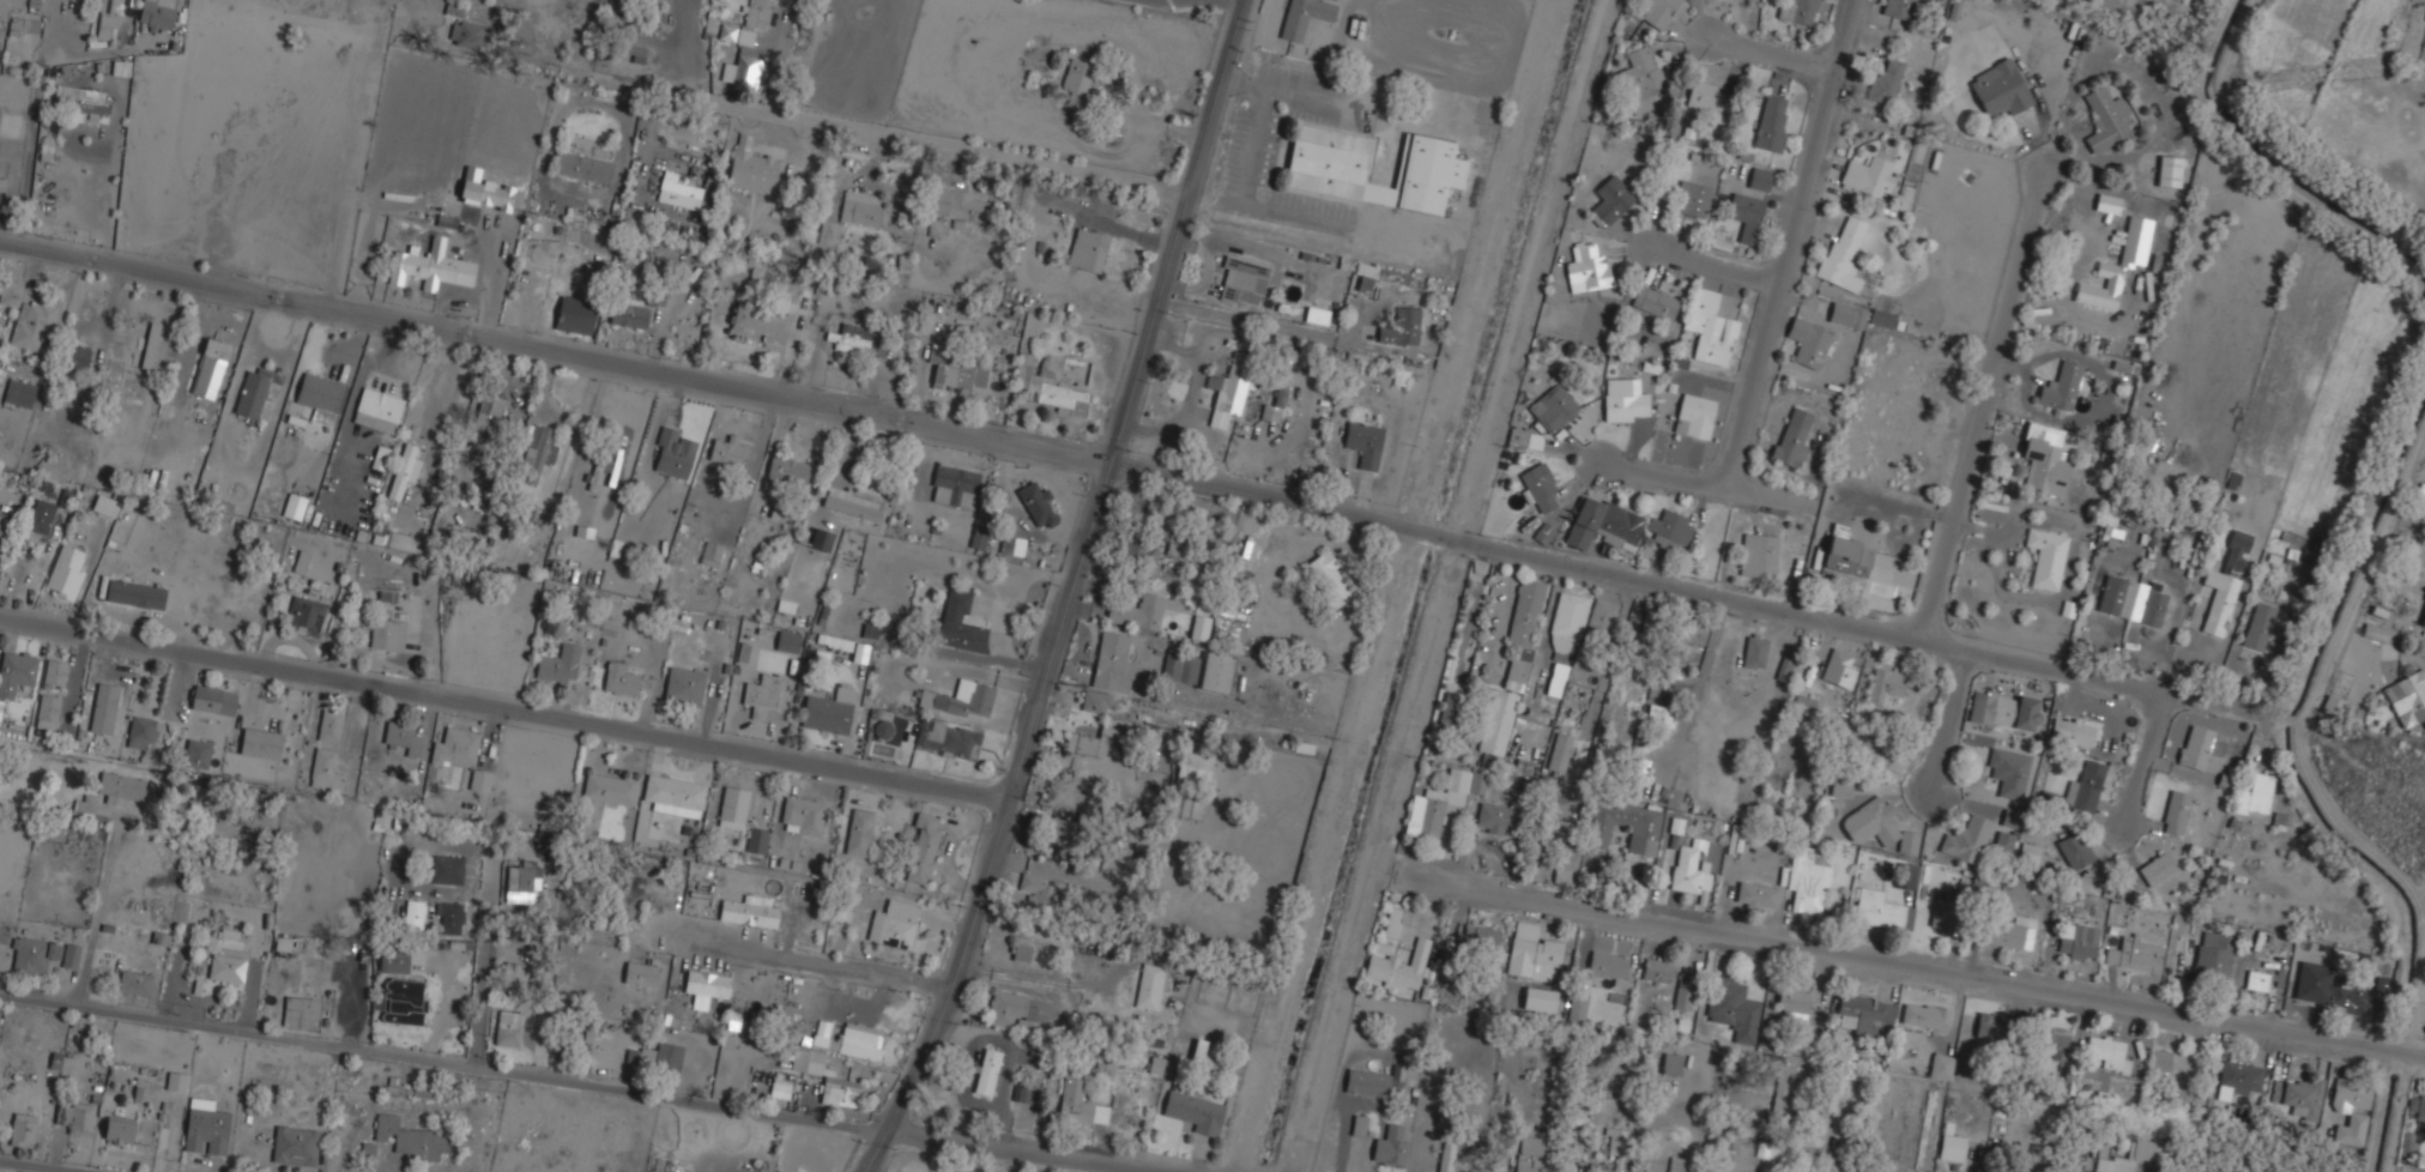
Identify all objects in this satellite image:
building: (454, 8)
building: (1658, 11)
building: (1797, 11)
building: (1898, 12)
building: (156, 13)
building: (755, 16)
building: (1304, 16)
building: (107, 18)
building: (16, 26)
building: (466, 32)
building: (744, 37)
road: (1777, 50)
building: (635, 53)
building: (746, 65)
building: (120, 67)
building: (1639, 77)
building: (1076, 79)
building: (1885, 80)
building: (1998, 86)
building: (1707, 97)
building: (78, 103)
road: (36, 107)
building: (2105, 117)
building: (1771, 121)
road: (883, 134)
building: (751, 165)
building: (582, 167)
building: (1325, 169)
building: (2169, 170)
building: (1867, 174)
building: (1759, 177)
building: (1, 180)
building: (682, 186)
building: (491, 194)
building: (1691, 197)
building: (1609, 199)
building: (957, 203)
building: (2107, 204)
building: (860, 207)
building: (1744, 213)
building: (828, 232)
road: (1794, 243)
building: (1087, 248)
building: (1842, 250)
road: (1718, 262)
building: (431, 265)
building: (1586, 267)
building: (1375, 274)
building: (1242, 279)
building: (2102, 285)
building: (1655, 301)
building: (628, 312)
building: (25, 313)
building: (574, 313)
building: (1316, 314)
building: (1846, 314)
building: (1881, 316)
building: (758, 322)
building: (1712, 324)
building: (1401, 325)
building: (857, 338)
building: (1807, 340)
building: (145, 342)
road: (555, 349)
building: (80, 356)
building: (210, 367)
building: (948, 368)
building: (1046, 382)
building: (2062, 385)
building: (1230, 386)
building: (256, 388)
building: (18, 391)
building: (320, 394)
building: (1623, 399)
building: (1275, 400)
building: (1553, 406)
building: (376, 409)
road: (1984, 409)
building: (488, 411)
building: (1693, 415)
building: (1792, 435)
building: (1524, 437)
building: (1362, 441)
building: (537, 449)
building: (672, 451)
building: (726, 451)
building: (2044, 457)
building: (403, 464)
building: (787, 465)
building: (597, 469)
road: (1709, 482)
building: (954, 484)
building: (1538, 484)
building: (852, 502)
building: (1036, 503)
building: (104, 505)
building: (515, 512)
building: (40, 515)
building: (1601, 521)
building: (0, 527)
building: (577, 528)
building: (1669, 530)
building: (1543, 532)
building: (2109, 536)
building: (821, 538)
building: (978, 538)
building: (1012, 545)
building: (1131, 549)
building: (1172, 549)
building: (2236, 549)
building: (1758, 552)
building: (1857, 556)
building: (2046, 556)
building: (301, 562)
building: (65, 572)
building: (1329, 580)
road: (1683, 590)
road: (1071, 591)
building: (134, 593)
building: (387, 594)
building: (2131, 598)
building: (2218, 599)
building: (785, 606)
building: (1139, 611)
building: (304, 614)
building: (2423, 616)
building: (961, 617)
building: (1601, 620)
building: (2258, 624)
building: (1647, 626)
building: (1199, 627)
building: (2375, 630)
building: (387, 632)
building: (1523, 632)
building: (1692, 633)
building: (787, 641)
building: (834, 641)
building: (1562, 648)
building: (1754, 652)
building: (1112, 663)
building: (558, 665)
building: (1179, 666)
building: (1784, 669)
building: (1838, 669)
building: (16, 671)
building: (54, 671)
building: (1217, 672)
building: (619, 678)
building: (1885, 684)
building: (683, 685)
road: (1698, 691)
building: (761, 693)
building: (2407, 695)
building: (961, 697)
building: (213, 699)
building: (1095, 701)
building: (1803, 703)
building: (103, 707)
road: (504, 708)
building: (828, 709)
building: (47, 711)
building: (2004, 711)
building: (1659, 718)
building: (1496, 721)
road: (1949, 725)
building: (328, 726)
building: (140, 731)
building: (401, 737)
building: (947, 738)
building: (259, 742)
building: (1088, 742)
building: (2199, 745)
building: (454, 747)
building: (196, 753)
building: (1559, 754)
road: (2143, 765)
building: (1195, 767)
building: (325, 768)
building: (2009, 772)
building: (479, 779)
building: (1477, 783)
building: (122, 785)
building: (609, 787)
building: (1842, 787)
building: (2078, 792)
building: (675, 793)
building: (2255, 793)
building: (1435, 805)
building: (732, 806)
building: (86, 808)
building: (2176, 810)
building: (802, 814)
building: (1496, 818)
building: (2010, 818)
building: (1879, 826)
building: (1562, 829)
building: (857, 830)
building: (1063, 833)
building: (1643, 836)
building: (756, 839)
building: (1966, 840)
building: (2003, 842)
building: (1698, 846)
building: (921, 847)
road: (1304, 848)
building: (2074, 850)
building: (2028, 853)
building: (2157, 866)
building: (449, 869)
building: (1691, 875)
building: (1905, 876)
building: (520, 880)
building: (1807, 881)
building: (1038, 895)
building: (1756, 895)
building: (413, 908)
building: (1881, 911)
building: (748, 912)
building: (1945, 912)
road: (95, 916)
building: (449, 917)
building: (1391, 923)
building: (890, 928)
building: (2010, 932)
building: (1478, 937)
building: (2076, 941)
building: (32, 953)
building: (1022, 953)
building: (1531, 953)
building: (2135, 953)
building: (2212, 954)
building: (69, 955)
road: (802, 957)
building: (393, 961)
road: (483, 962)
road: (1928, 965)
building: (1608, 966)
building: (226, 967)
building: (1398, 968)
building: (1657, 971)
building: (512, 972)
building: (640, 972)
building: (2260, 979)
building: (134, 981)
building: (704, 985)
building: (1149, 986)
building: (1683, 991)
building: (2348, 997)
building: (403, 999)
building: (1538, 999)
building: (1794, 1004)
building: (1577, 1008)
building: (1732, 1008)
building: (1012, 1009)
building: (301, 1013)
building: (1863, 1014)
building: (1925, 1016)
building: (81, 1021)
building: (1988, 1026)
building: (507, 1028)
building: (848, 1039)
building: (2051, 1039)
building: (1202, 1052)
building: (2107, 1052)
building: (658, 1055)
building: (2160, 1062)
building: (1671, 1064)
building: (1941, 1067)
building: (987, 1073)
building: (826, 1075)
building: (2242, 1076)
building: (176, 1081)
building: (1367, 1083)
road: (605, 1086)
building: (398, 1088)
building: (423, 1088)
building: (1783, 1088)
building: (779, 1089)
building: (2298, 1097)
building: (2415, 1102)
building: (1080, 1104)
building: (2350, 1108)
building: (1195, 1112)
building: (75, 1116)
building: (205, 1126)
building: (22, 1129)
building: (119, 1129)
building: (407, 1136)
building: (2408, 1143)
building: (295, 1144)
building: (1951, 1144)
building: (1390, 1147)
building: (1615, 1149)
building: (1766, 1149)
building: (2146, 1150)
building: (1529, 1154)
building: (1446, 1156)
building: (1679, 1164)
road: (44, 1165)

